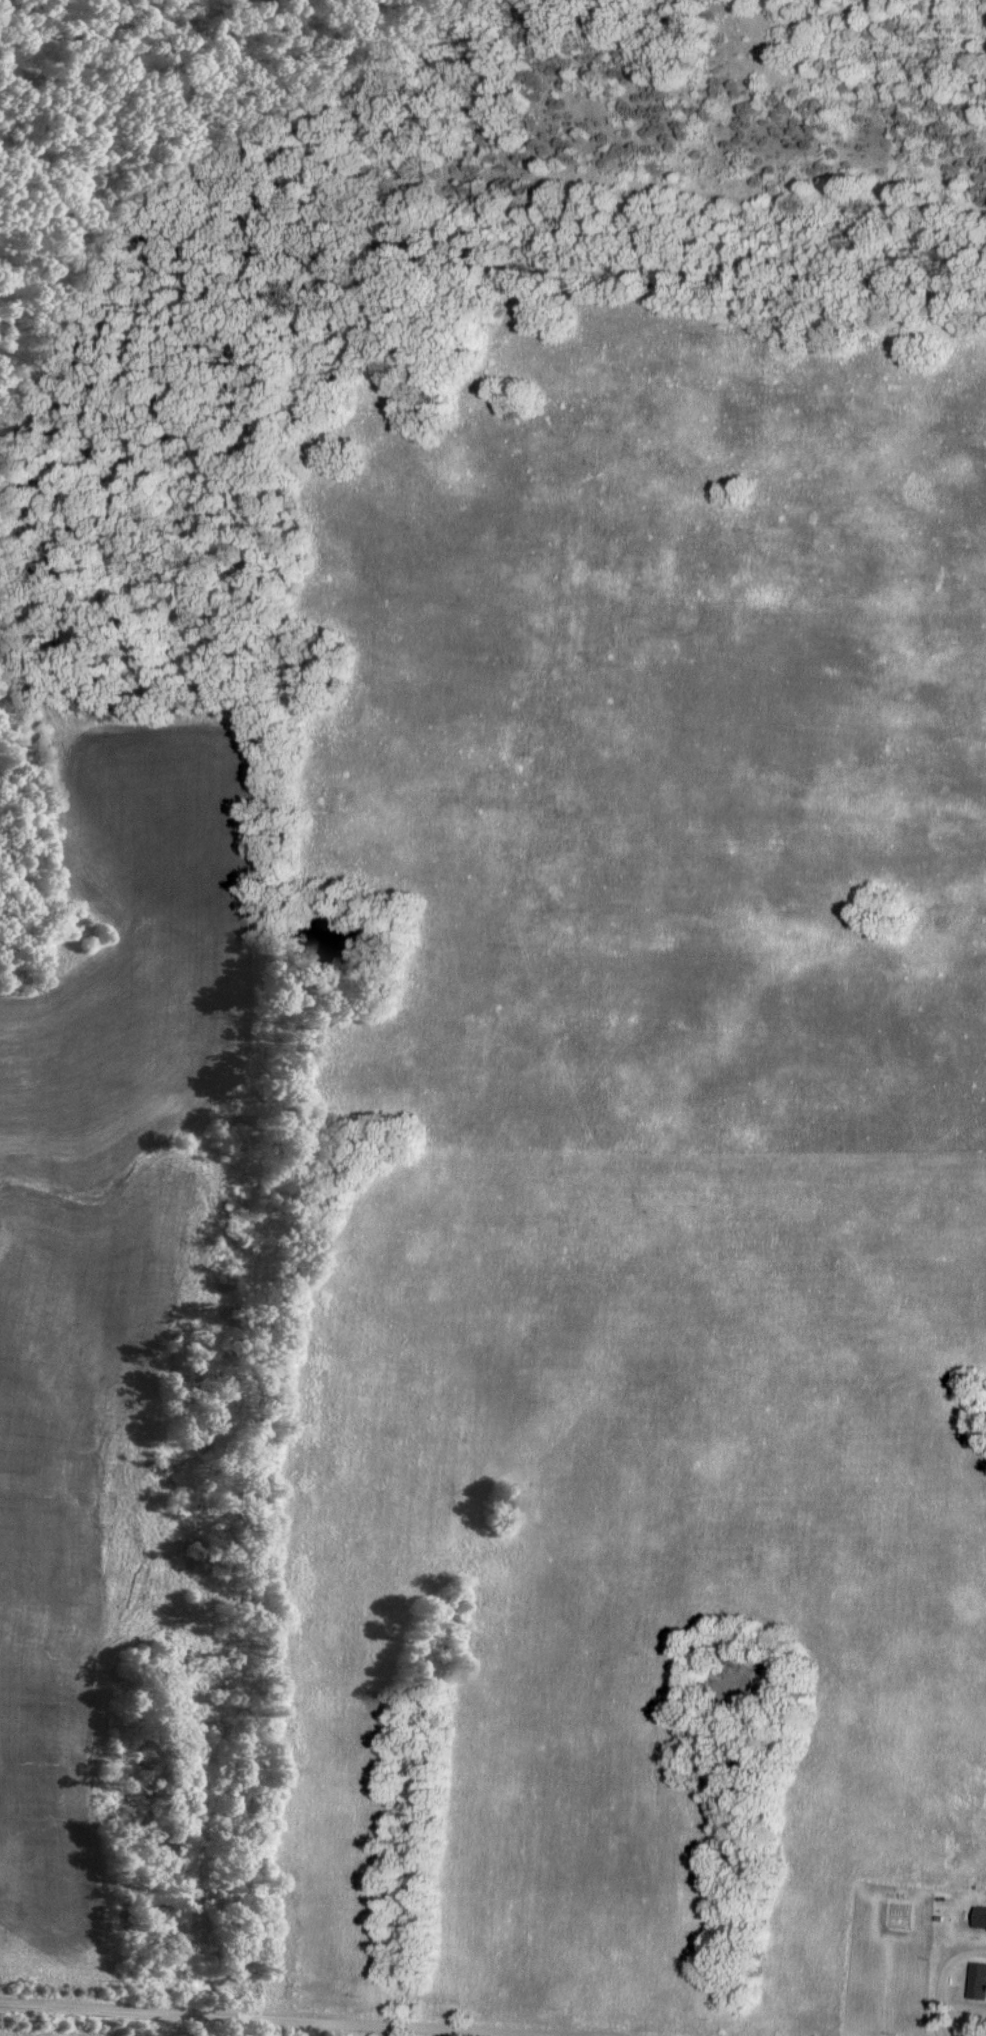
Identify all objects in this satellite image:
building: (984, 1918)
road: (939, 1974)
building: (979, 1982)
road: (322, 2016)

